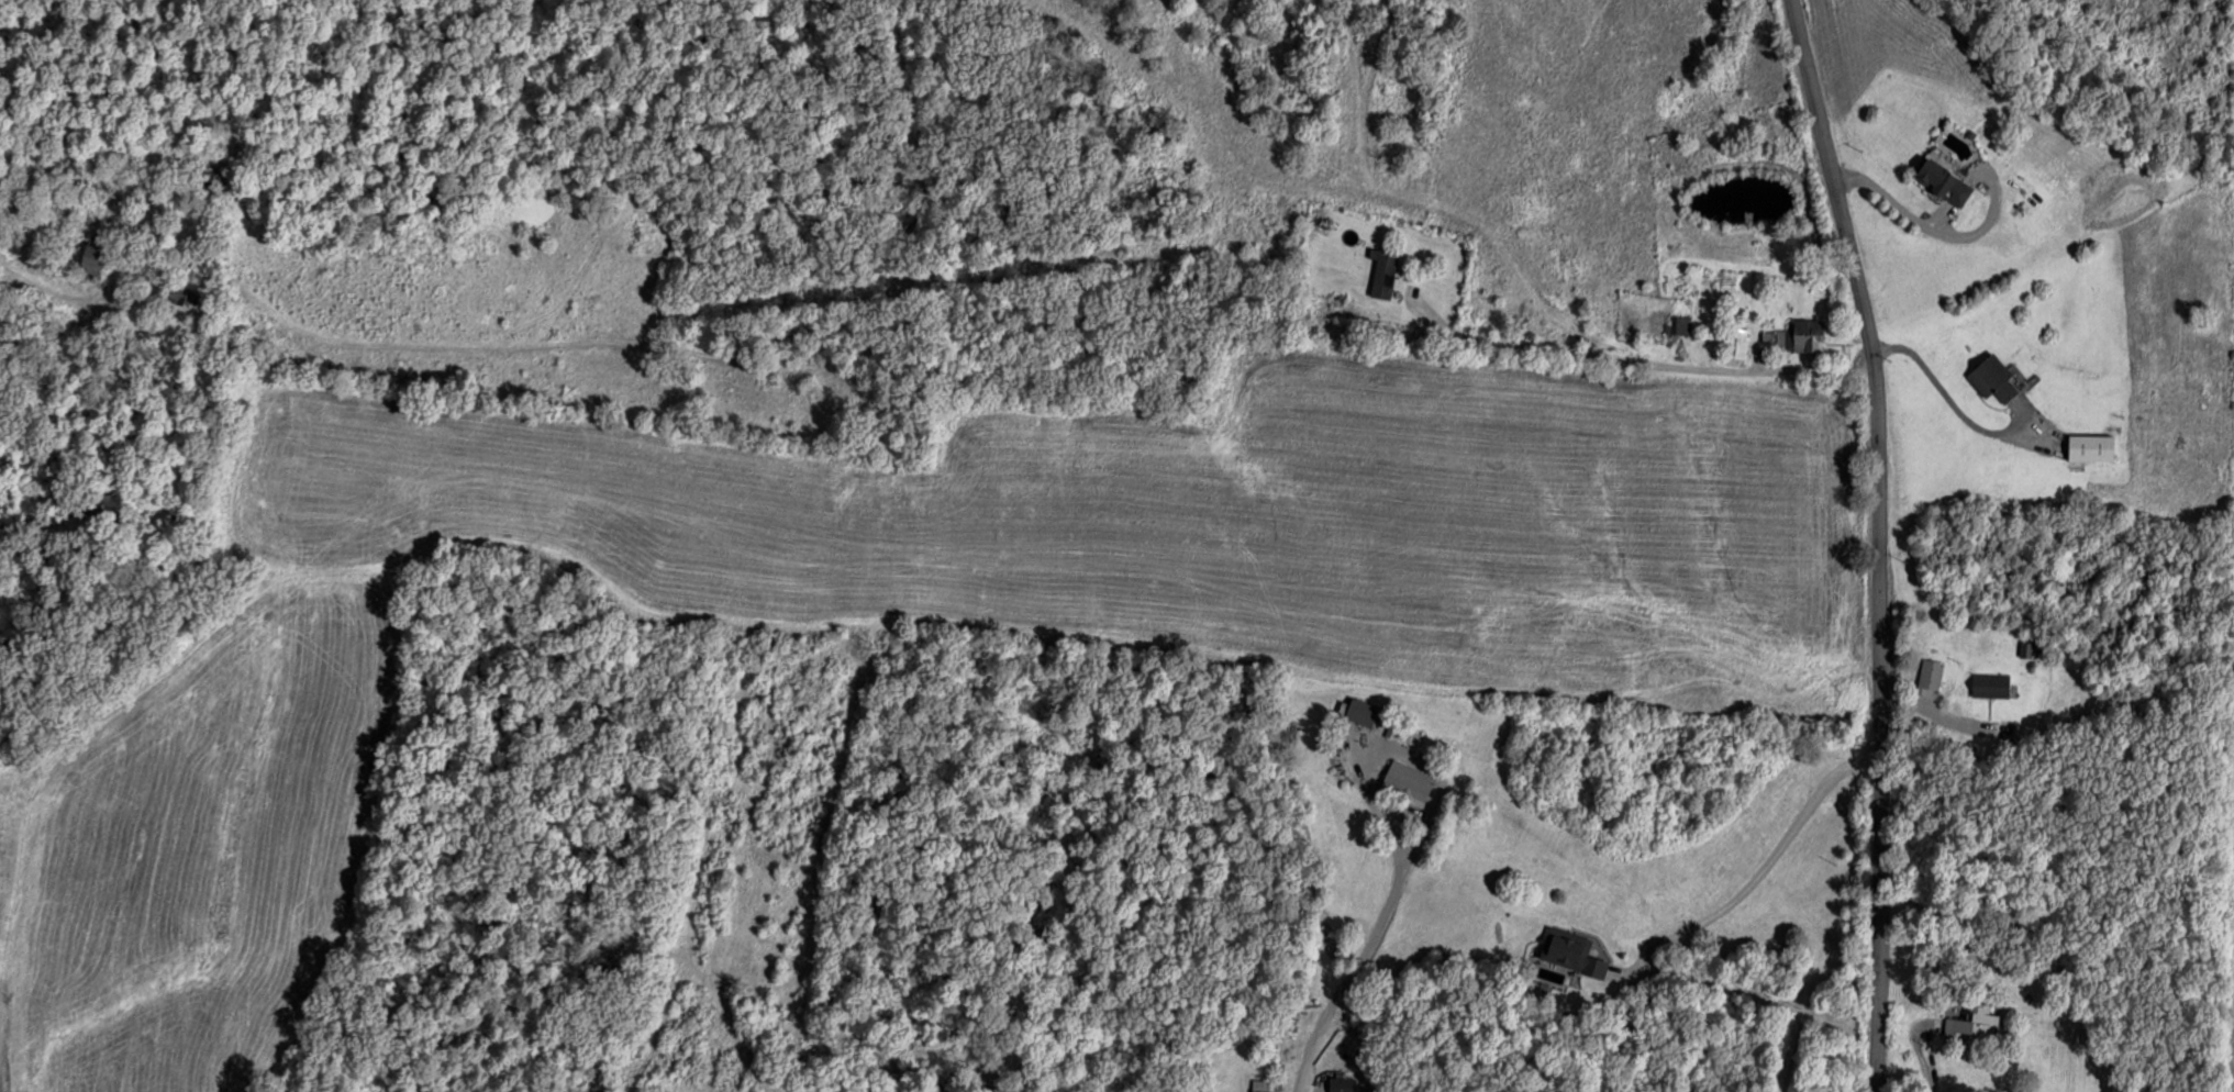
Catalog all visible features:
building: (1941, 181)
building: (1319, 221)
building: (92, 256)
building: (1383, 274)
building: (178, 296)
building: (1678, 324)
building: (1805, 335)
building: (1735, 342)
road: (1536, 347)
building: (1992, 379)
building: (2090, 447)
road: (1876, 541)
building: (1930, 675)
building: (1988, 684)
building: (1360, 712)
building: (1405, 782)
building: (1569, 954)
road: (1352, 974)
building: (1971, 1024)
building: (1338, 1084)
building: (1259, 1085)

